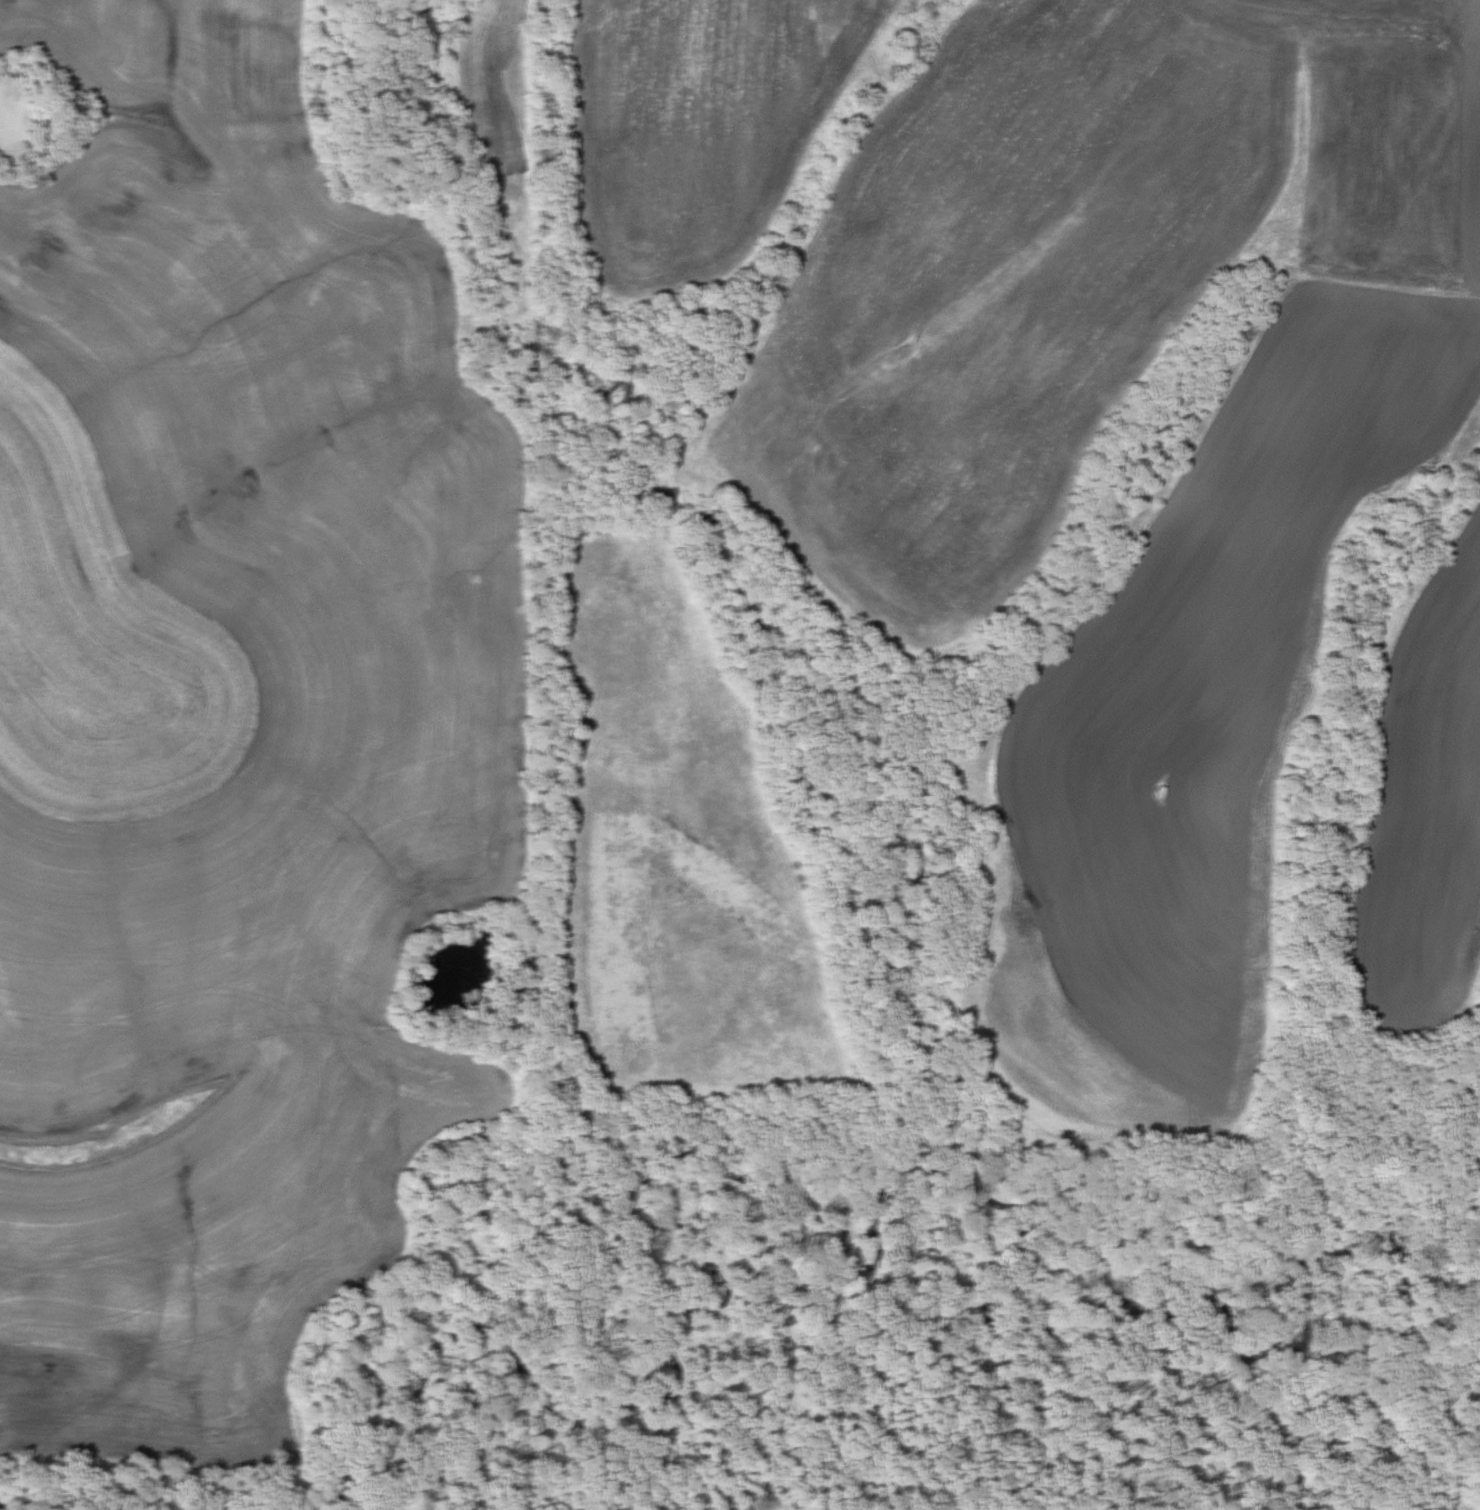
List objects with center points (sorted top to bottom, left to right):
building: (468, 1136)

